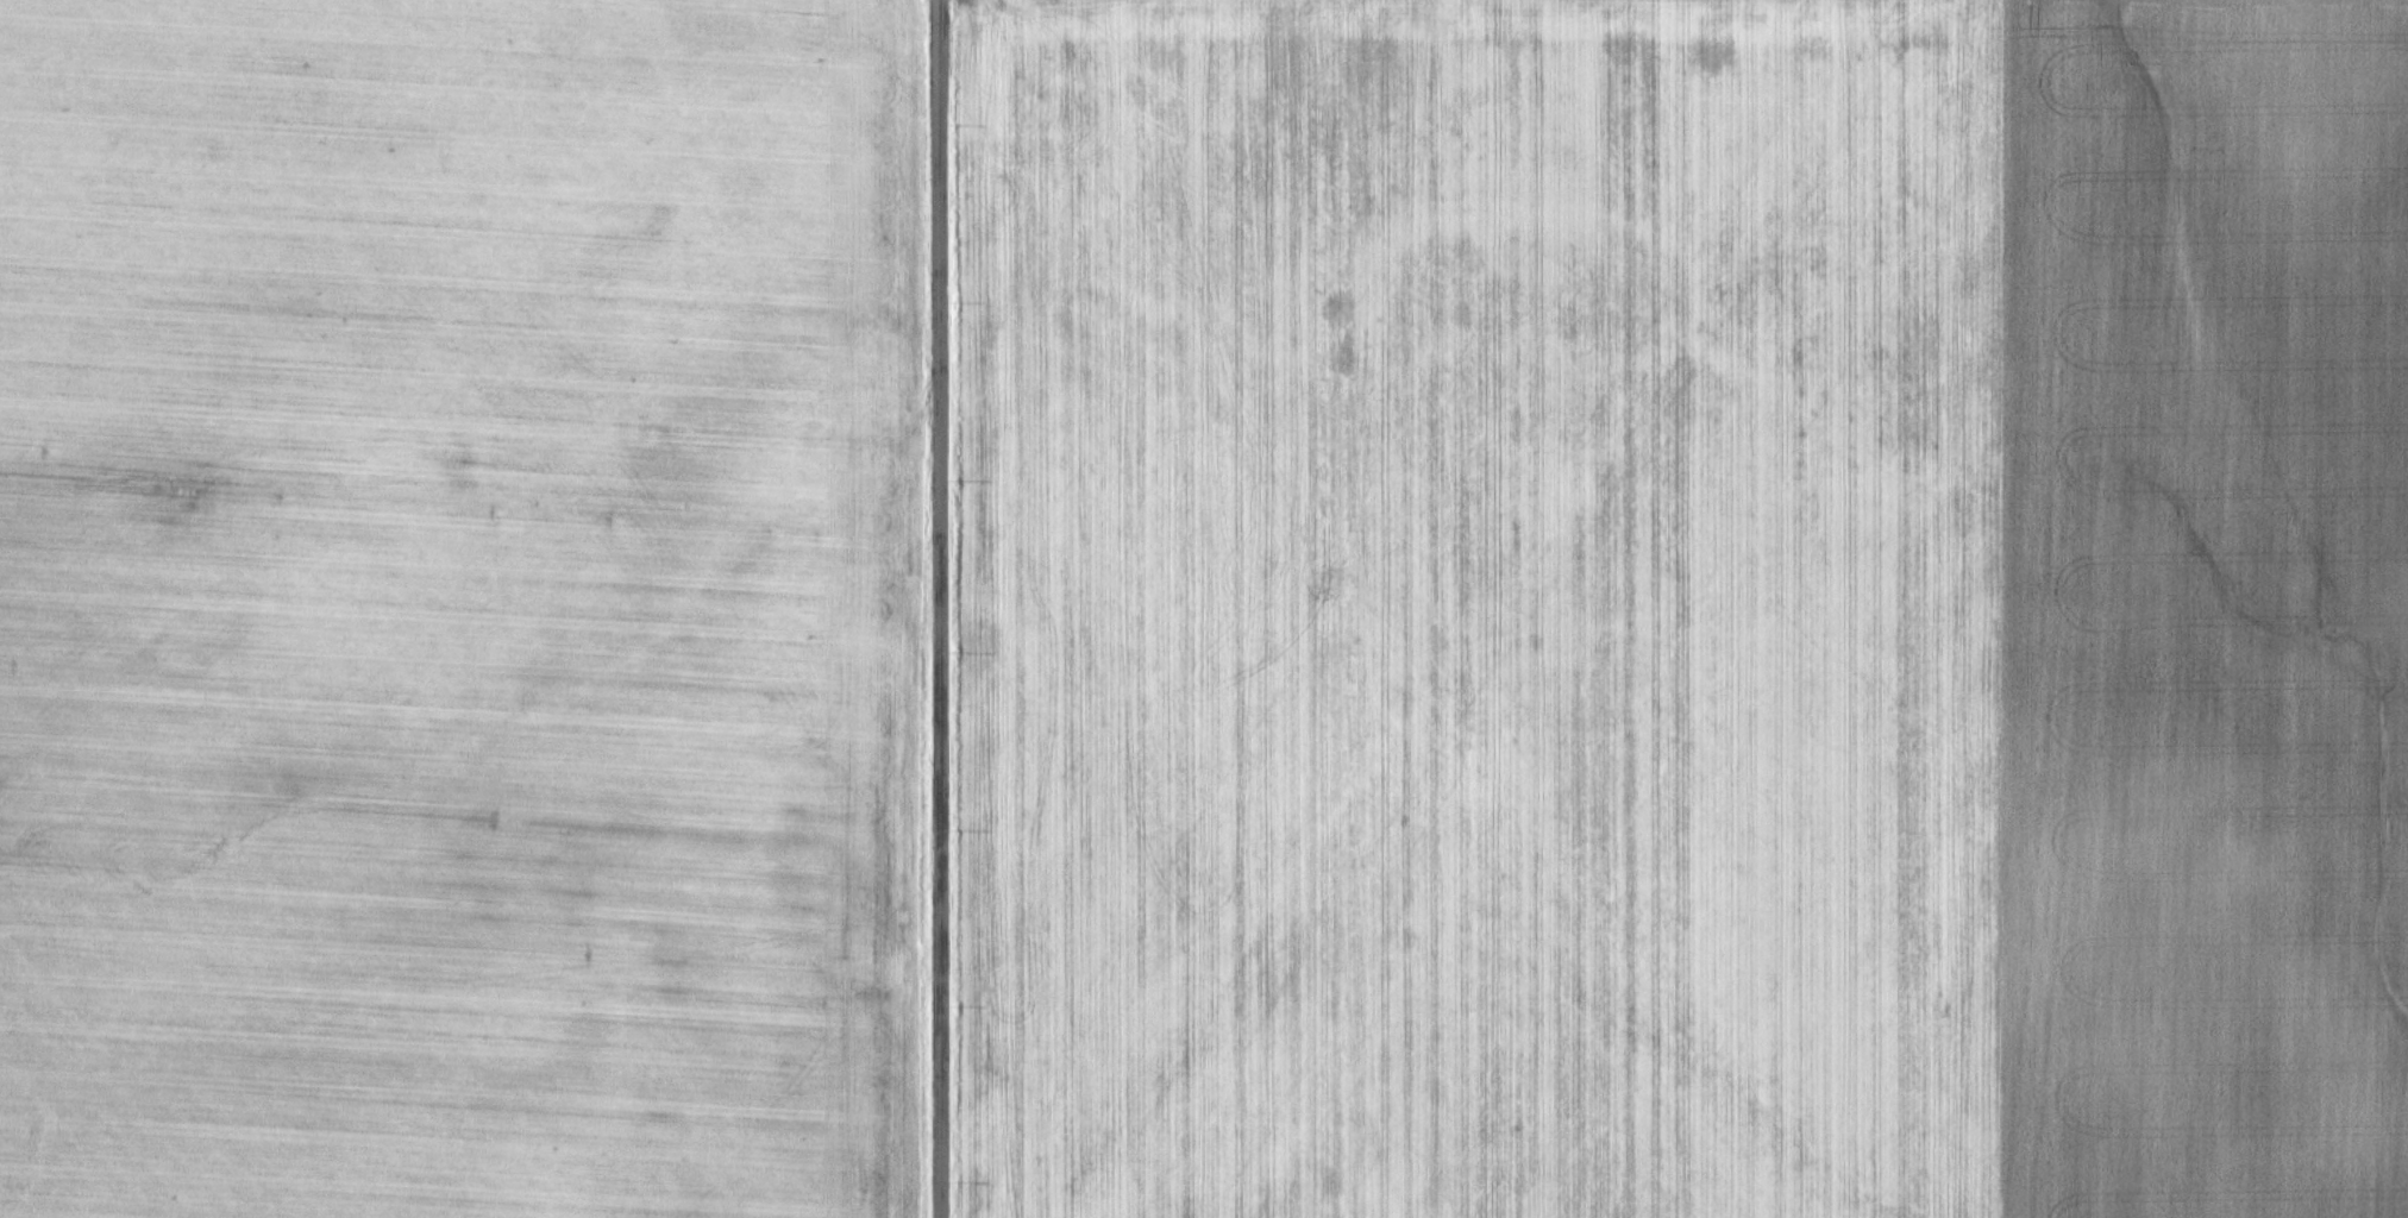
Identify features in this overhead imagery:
road: (947, 609)

